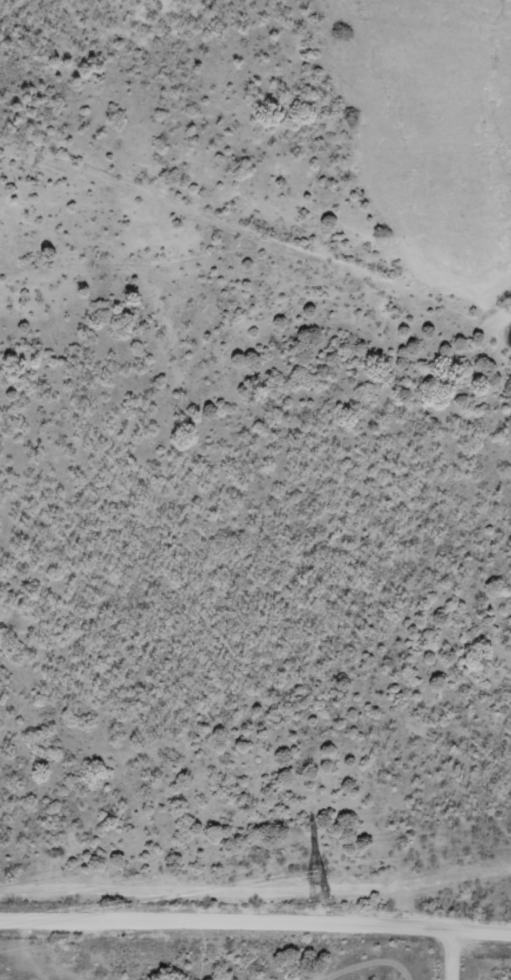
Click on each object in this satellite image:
power tower: (318, 890)
road: (255, 948)
road: (440, 965)

